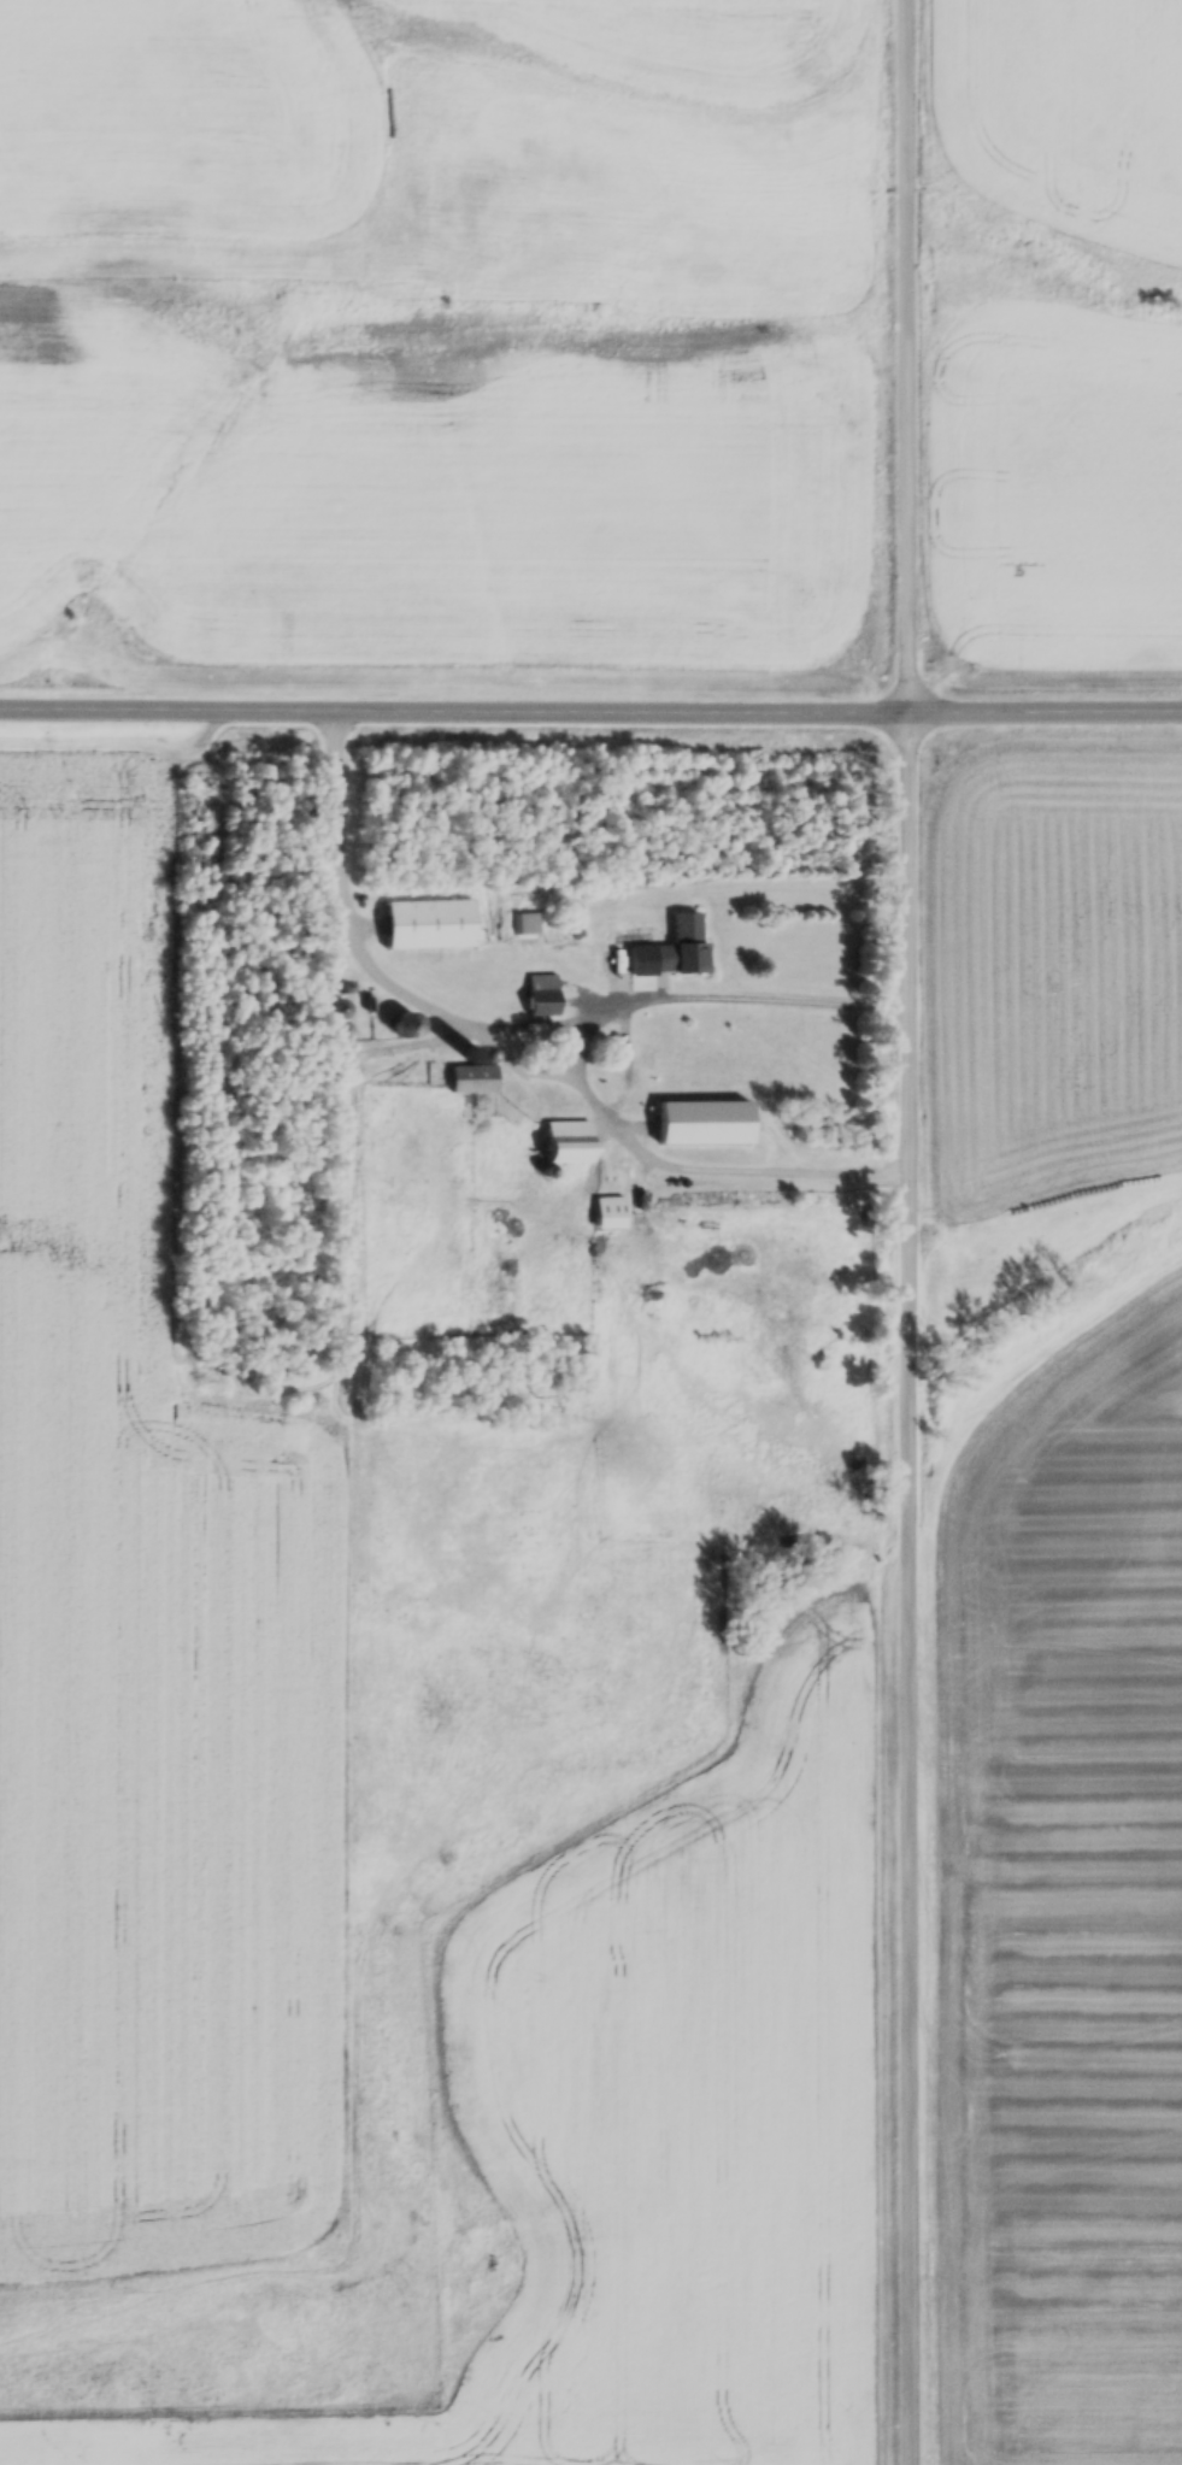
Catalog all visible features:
crop: (1066, 105)
road: (454, 707)
road: (1046, 708)
building: (428, 912)
building: (686, 948)
building: (611, 971)
building: (542, 996)
road: (506, 1020)
building: (472, 1069)
building: (702, 1110)
building: (566, 1130)
building: (610, 1204)
road: (910, 1232)
building: (984, 1254)

